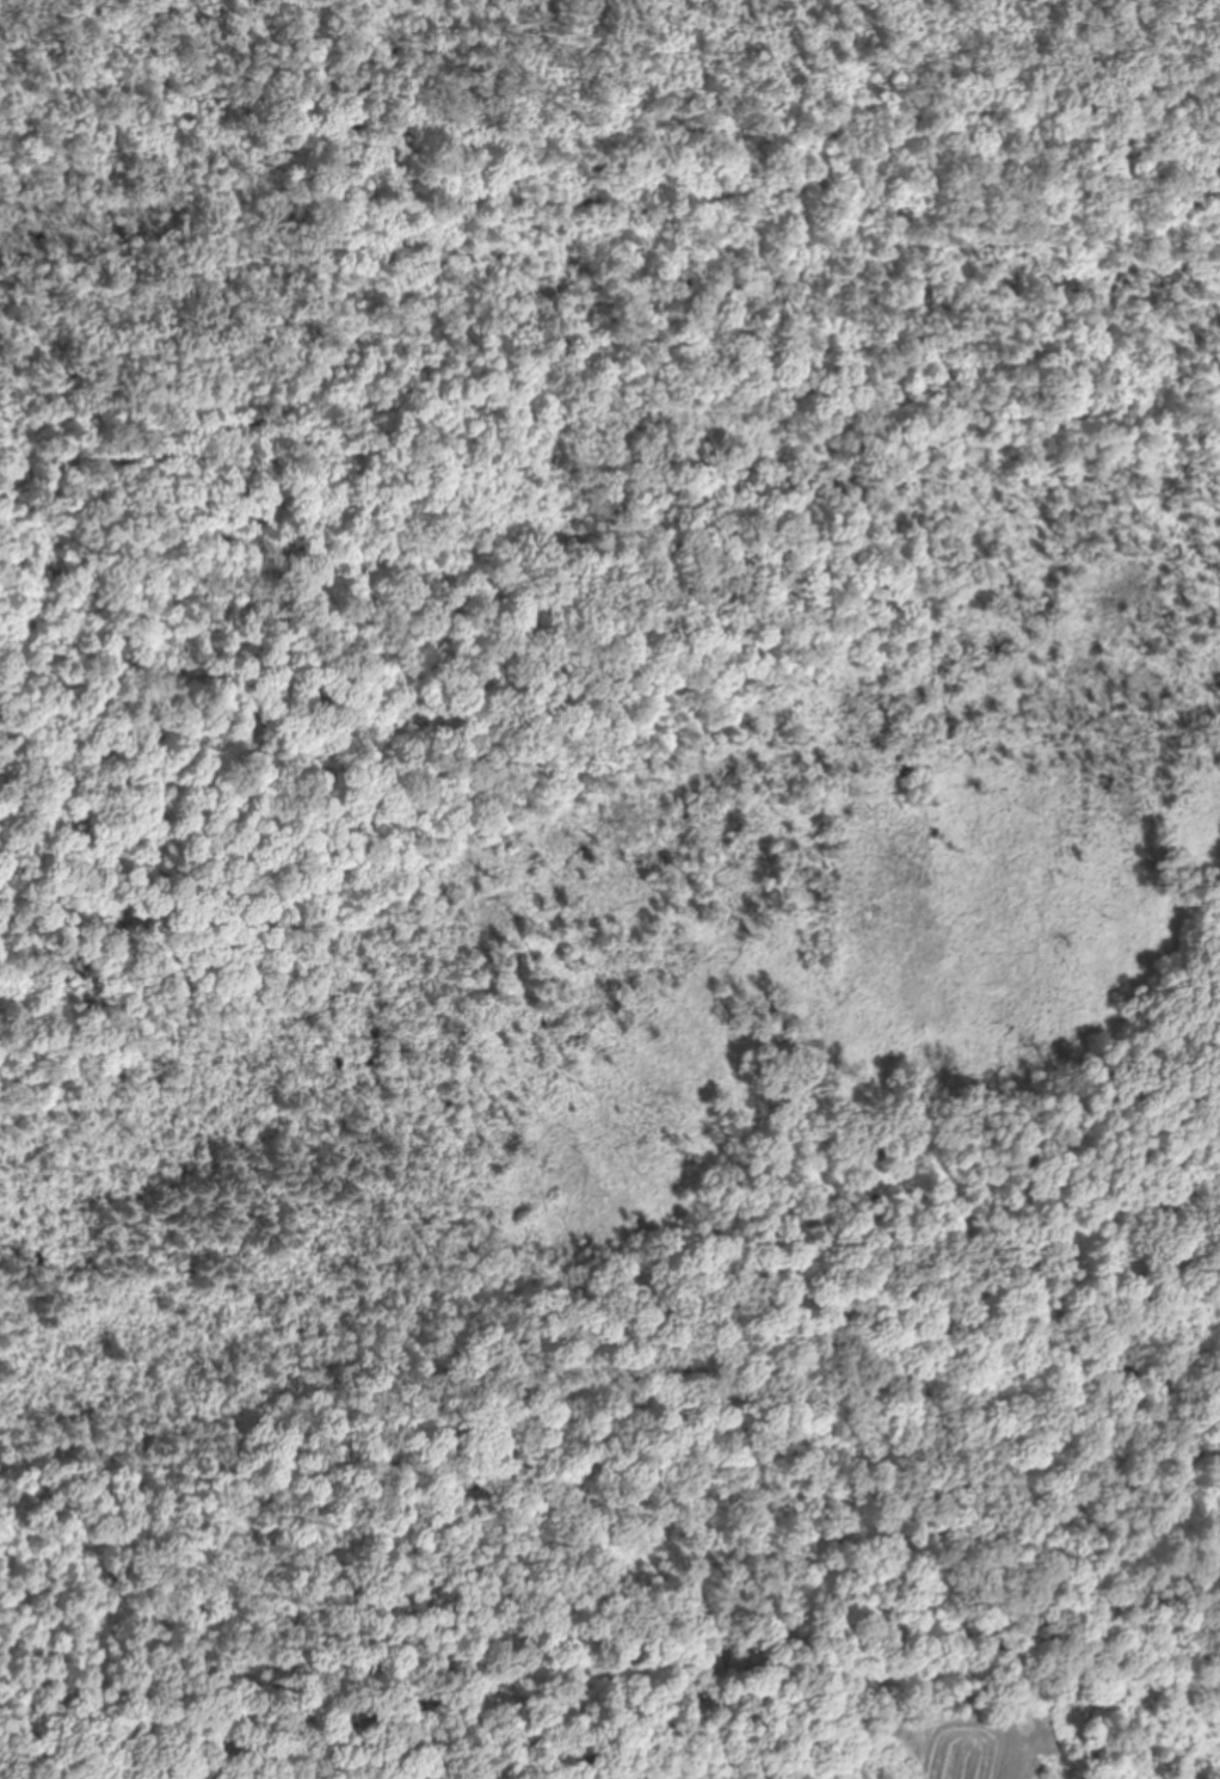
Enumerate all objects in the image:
road: (569, 282)
park: (610, 870)

